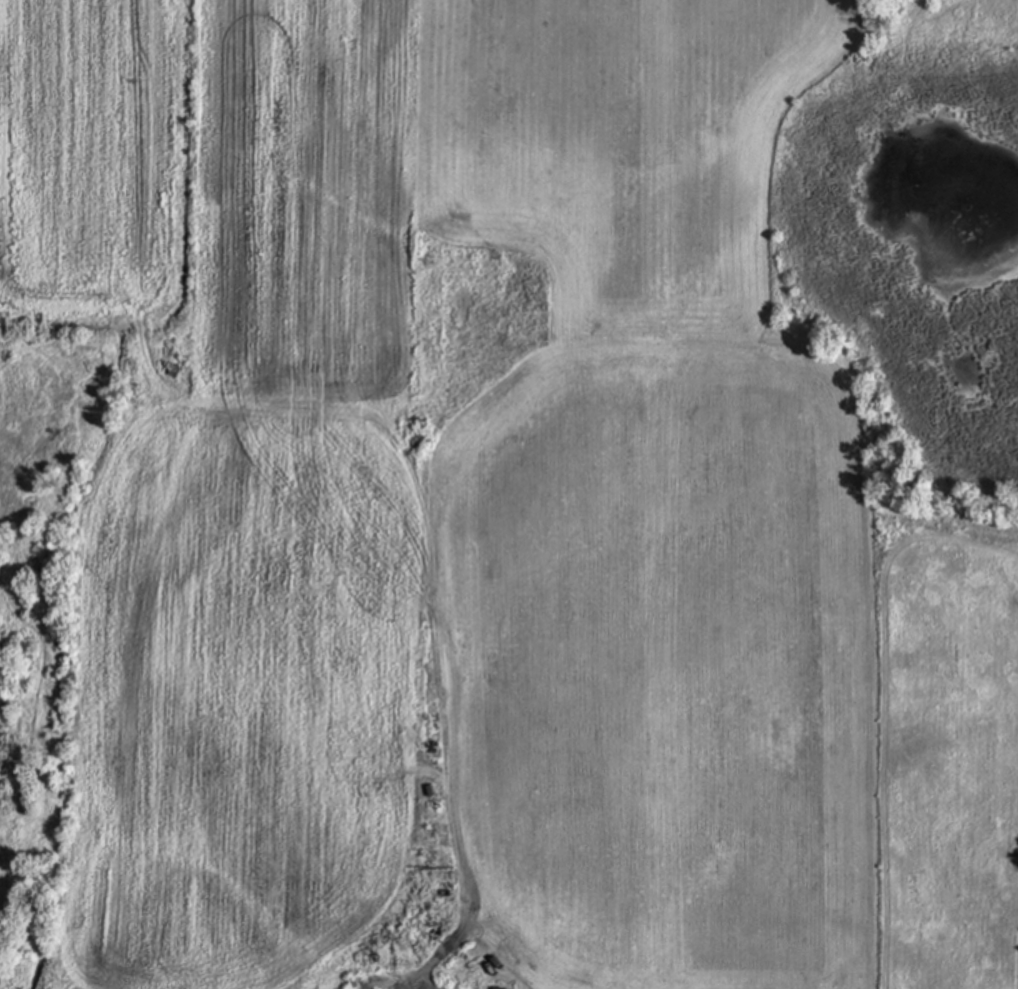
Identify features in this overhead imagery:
building: (429, 783)

